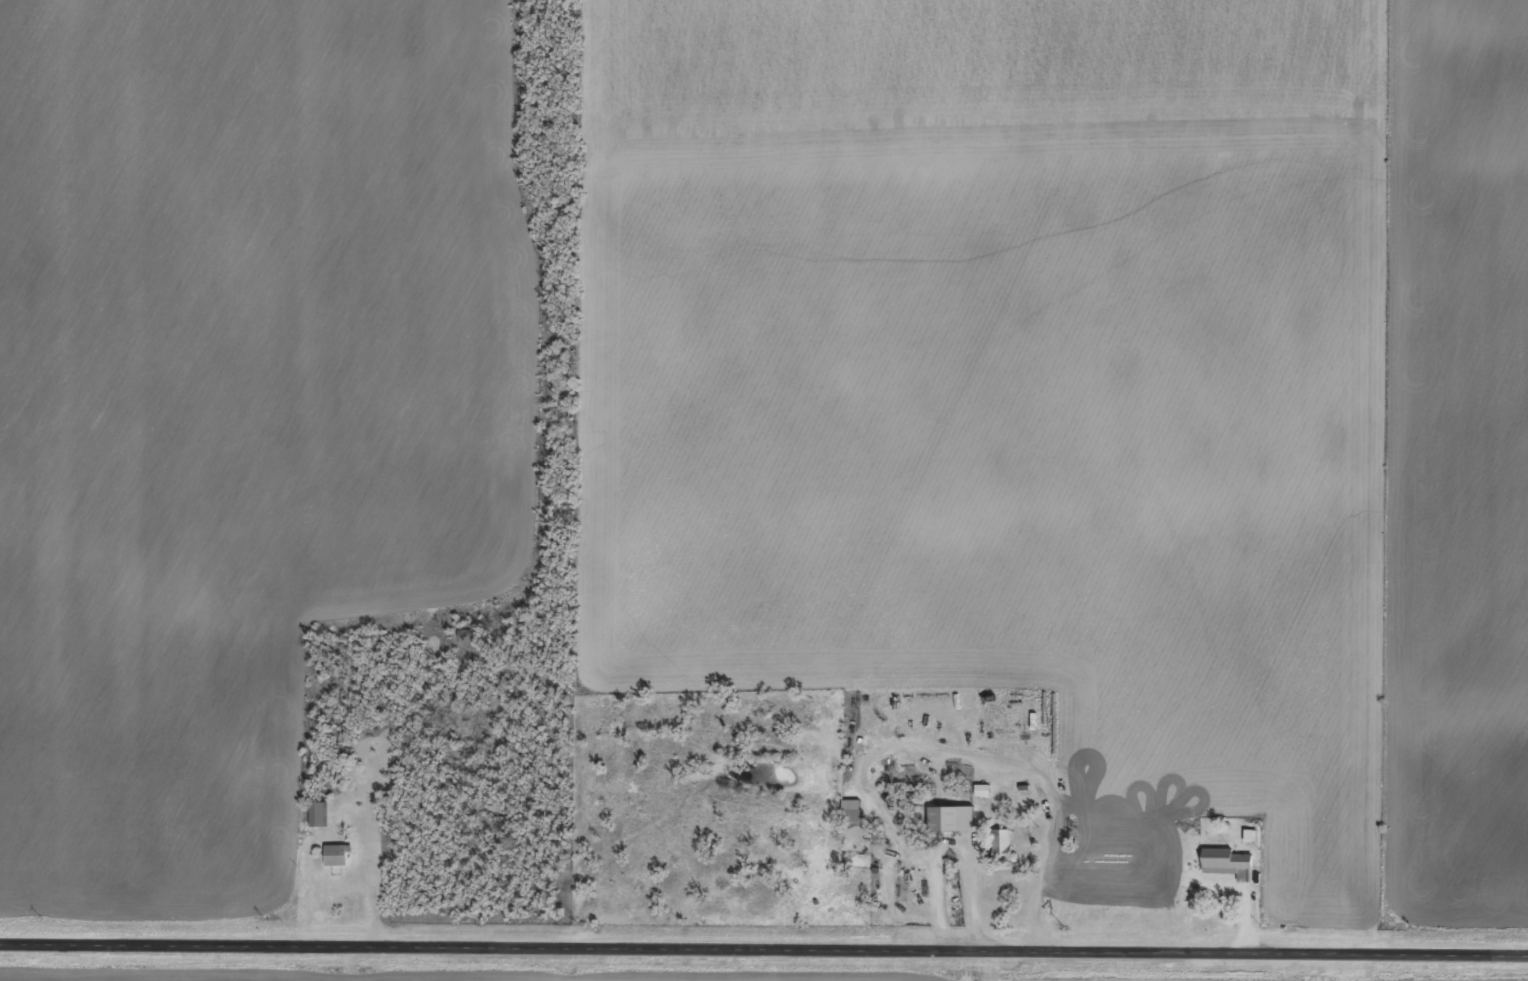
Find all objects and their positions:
building: (340, 749)
building: (983, 791)
building: (852, 811)
building: (317, 814)
building: (944, 819)
building: (1250, 836)
building: (1003, 843)
building: (335, 855)
building: (1228, 863)
road: (764, 942)

